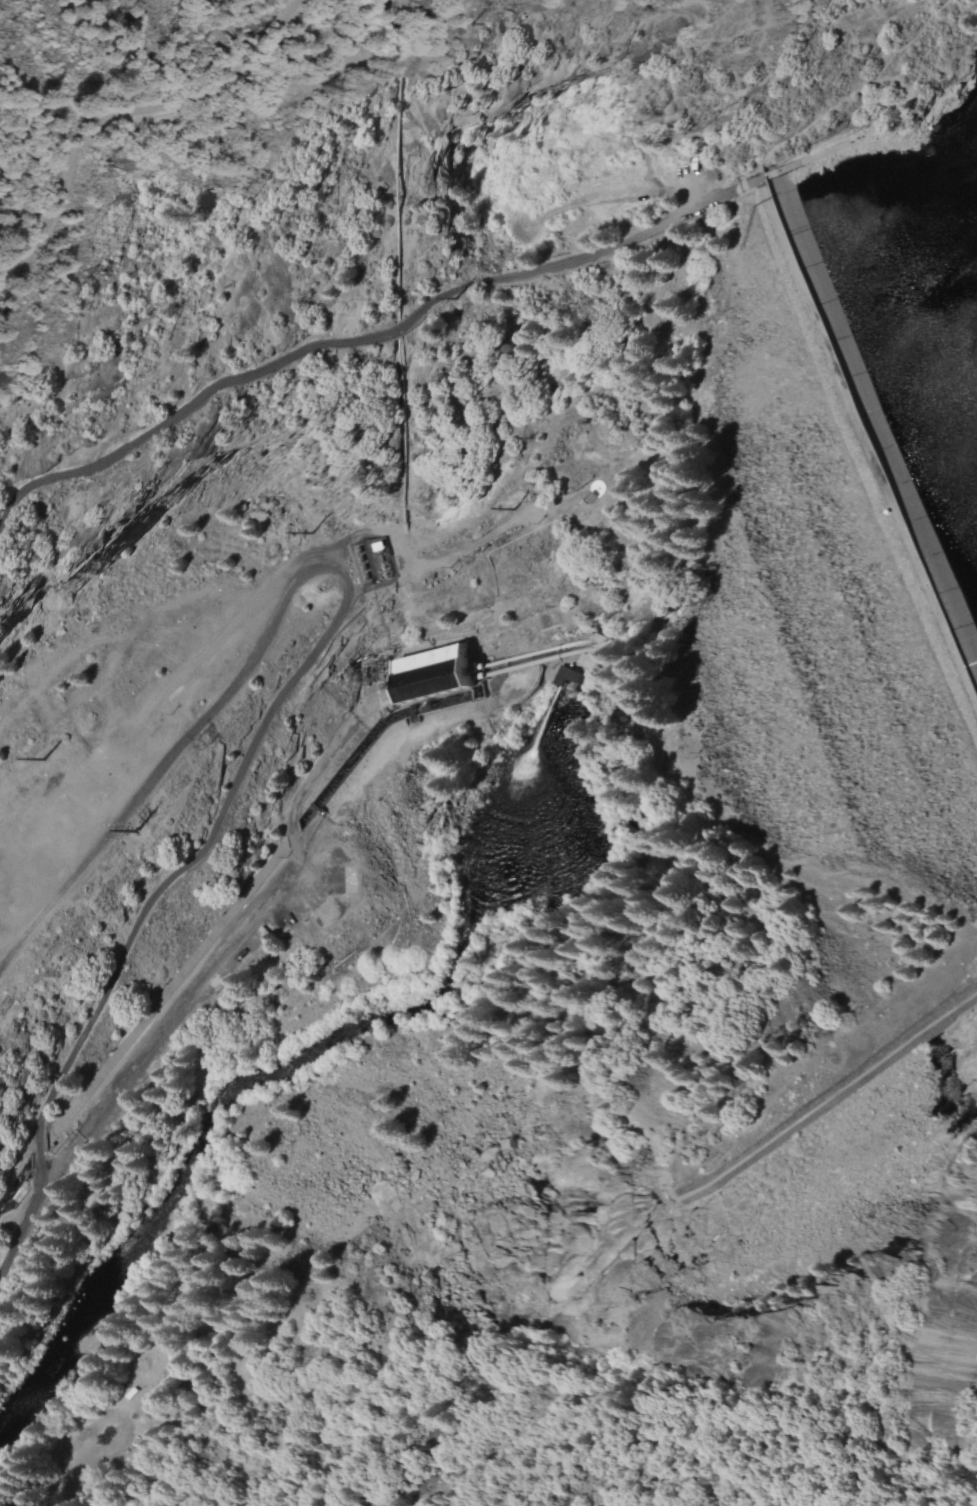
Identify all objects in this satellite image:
power tower: (461, 22)
road: (861, 53)
road: (44, 261)
power tower: (449, 303)
road: (362, 322)
power tower: (506, 508)
power substation: (364, 559)
dam: (805, 610)
building: (429, 672)
road: (304, 681)
power tower: (183, 749)
power tower: (693, 754)
power tower: (936, 903)
road: (221, 990)
river: (323, 1038)
road: (22, 1223)

